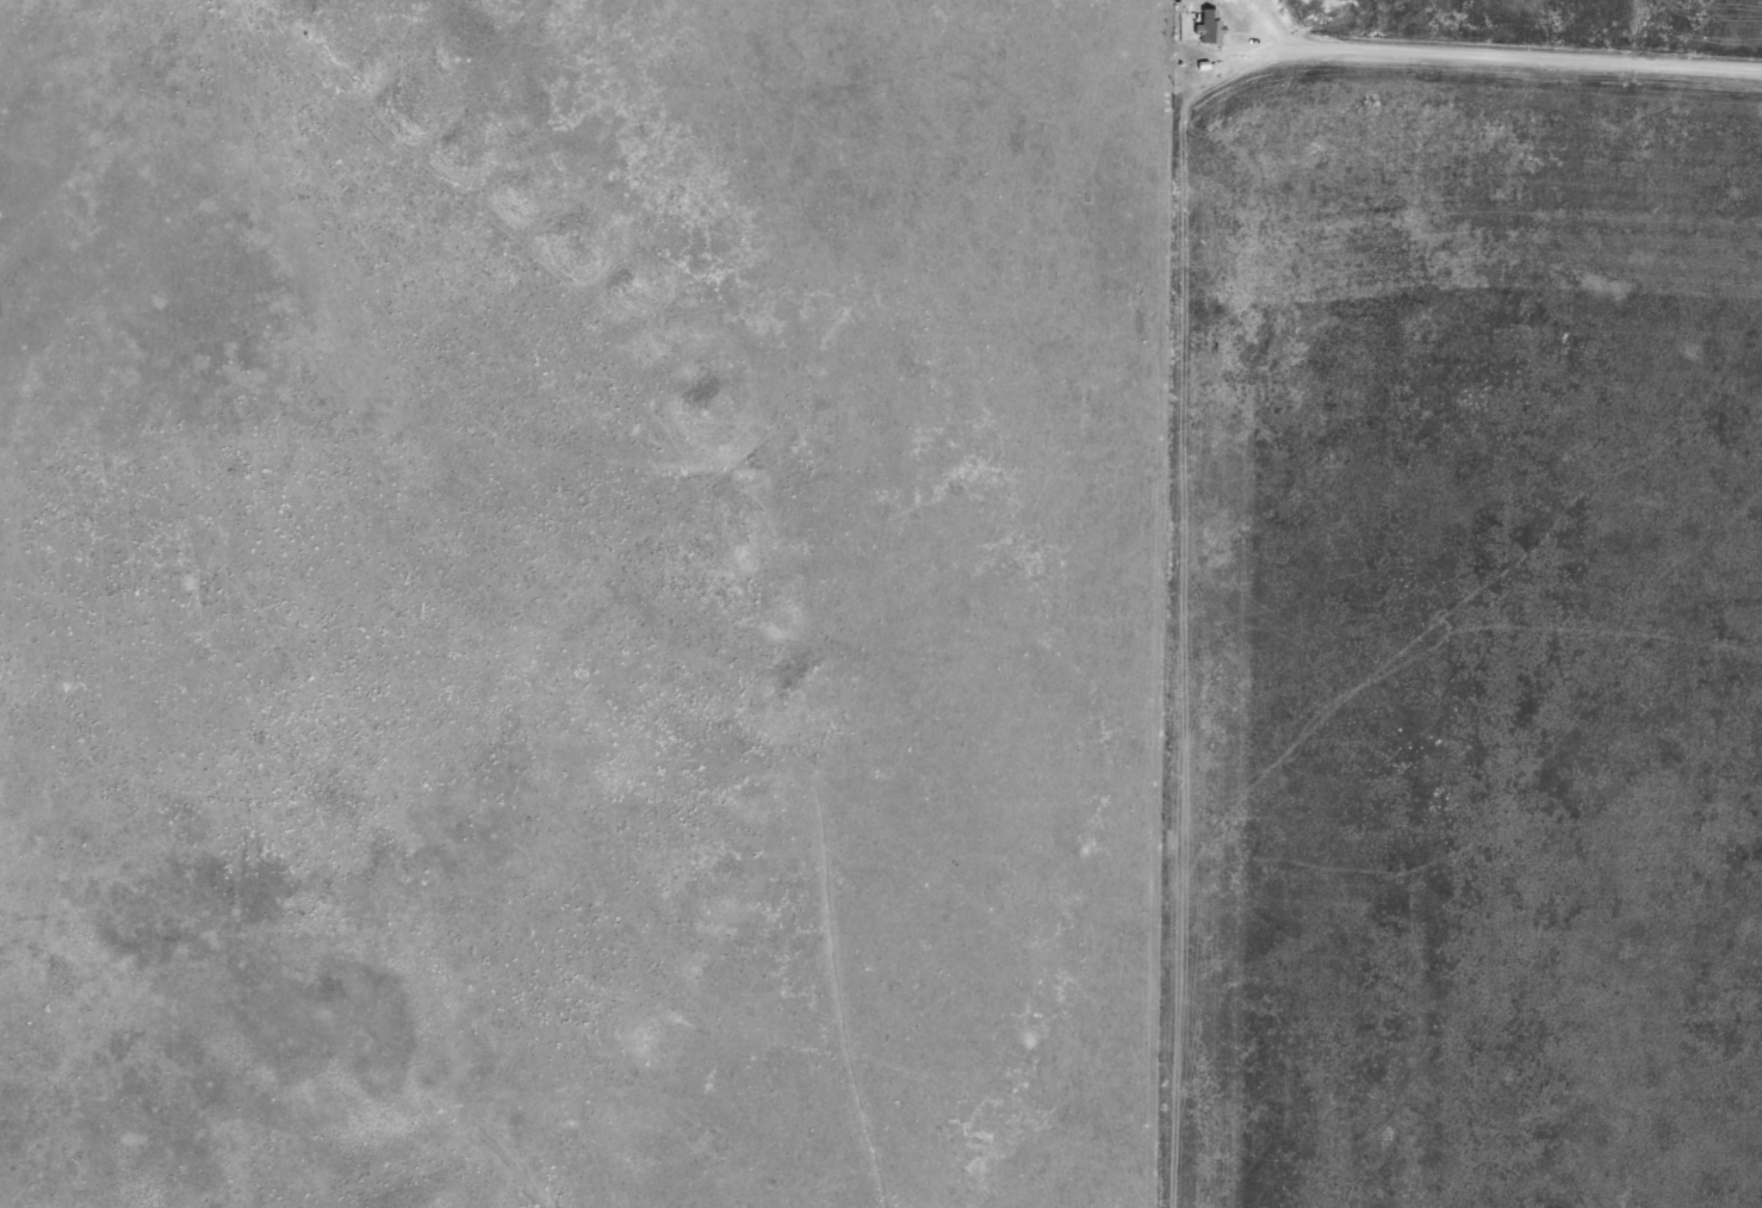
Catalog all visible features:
road: (1516, 51)

